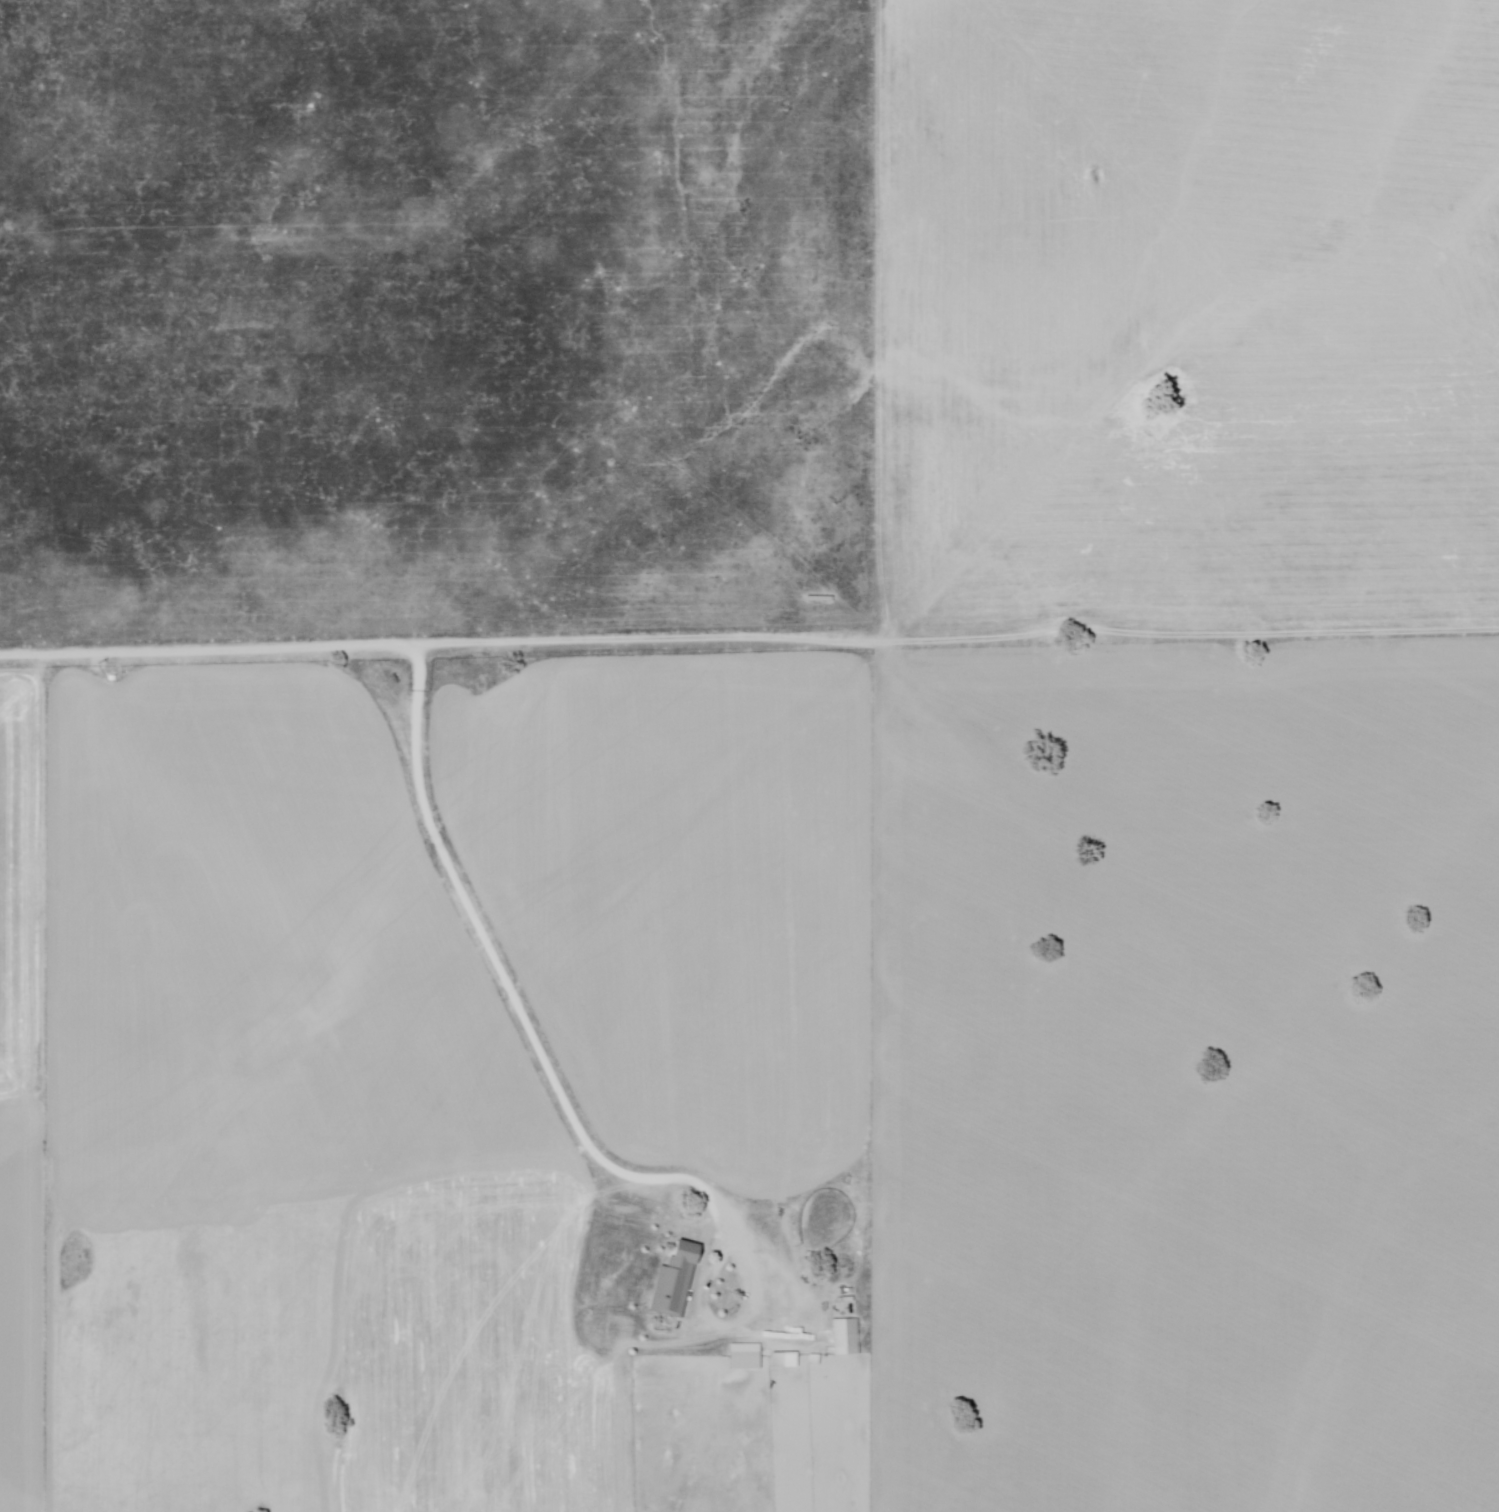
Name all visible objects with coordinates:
road: (878, 319)
road: (749, 641)
building: (674, 1281)
building: (844, 1333)
building: (744, 1361)

